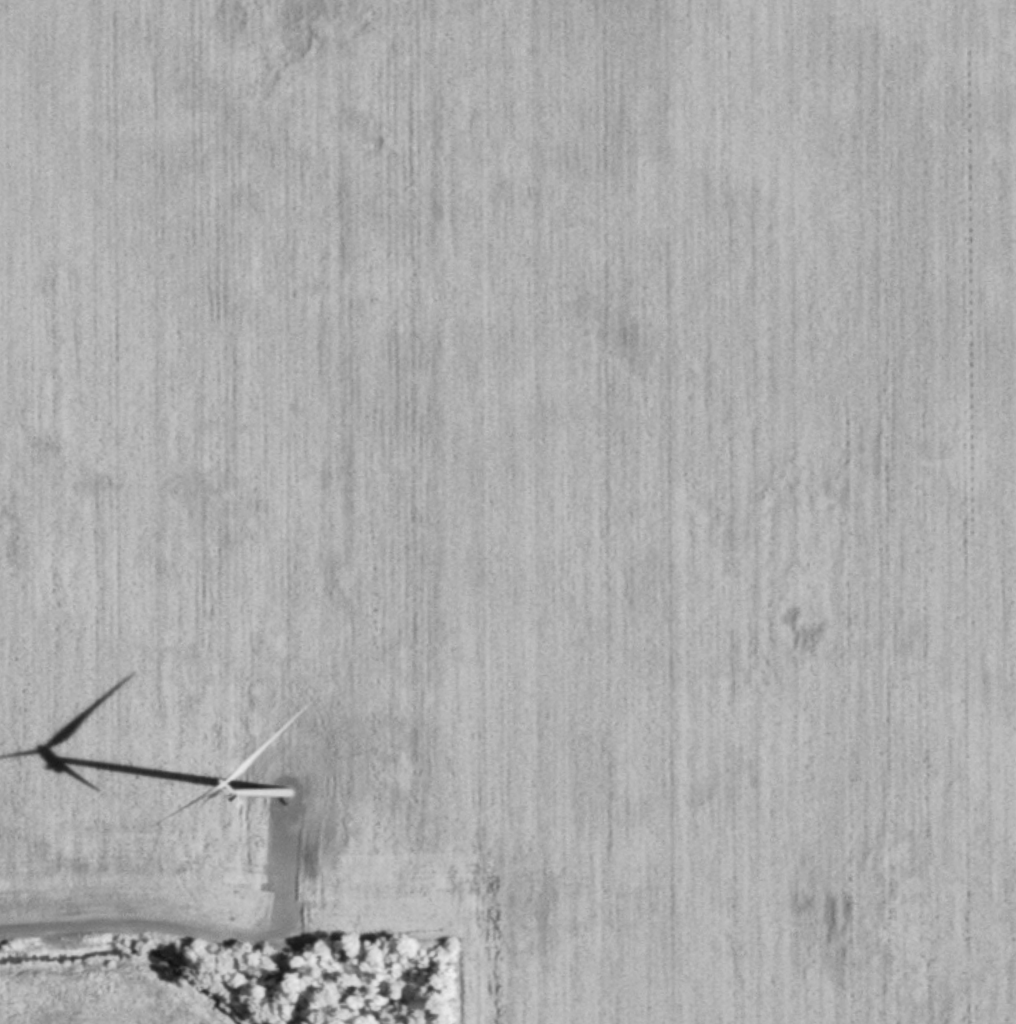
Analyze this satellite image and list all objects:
wind turbine: (293, 799)
road: (196, 925)

